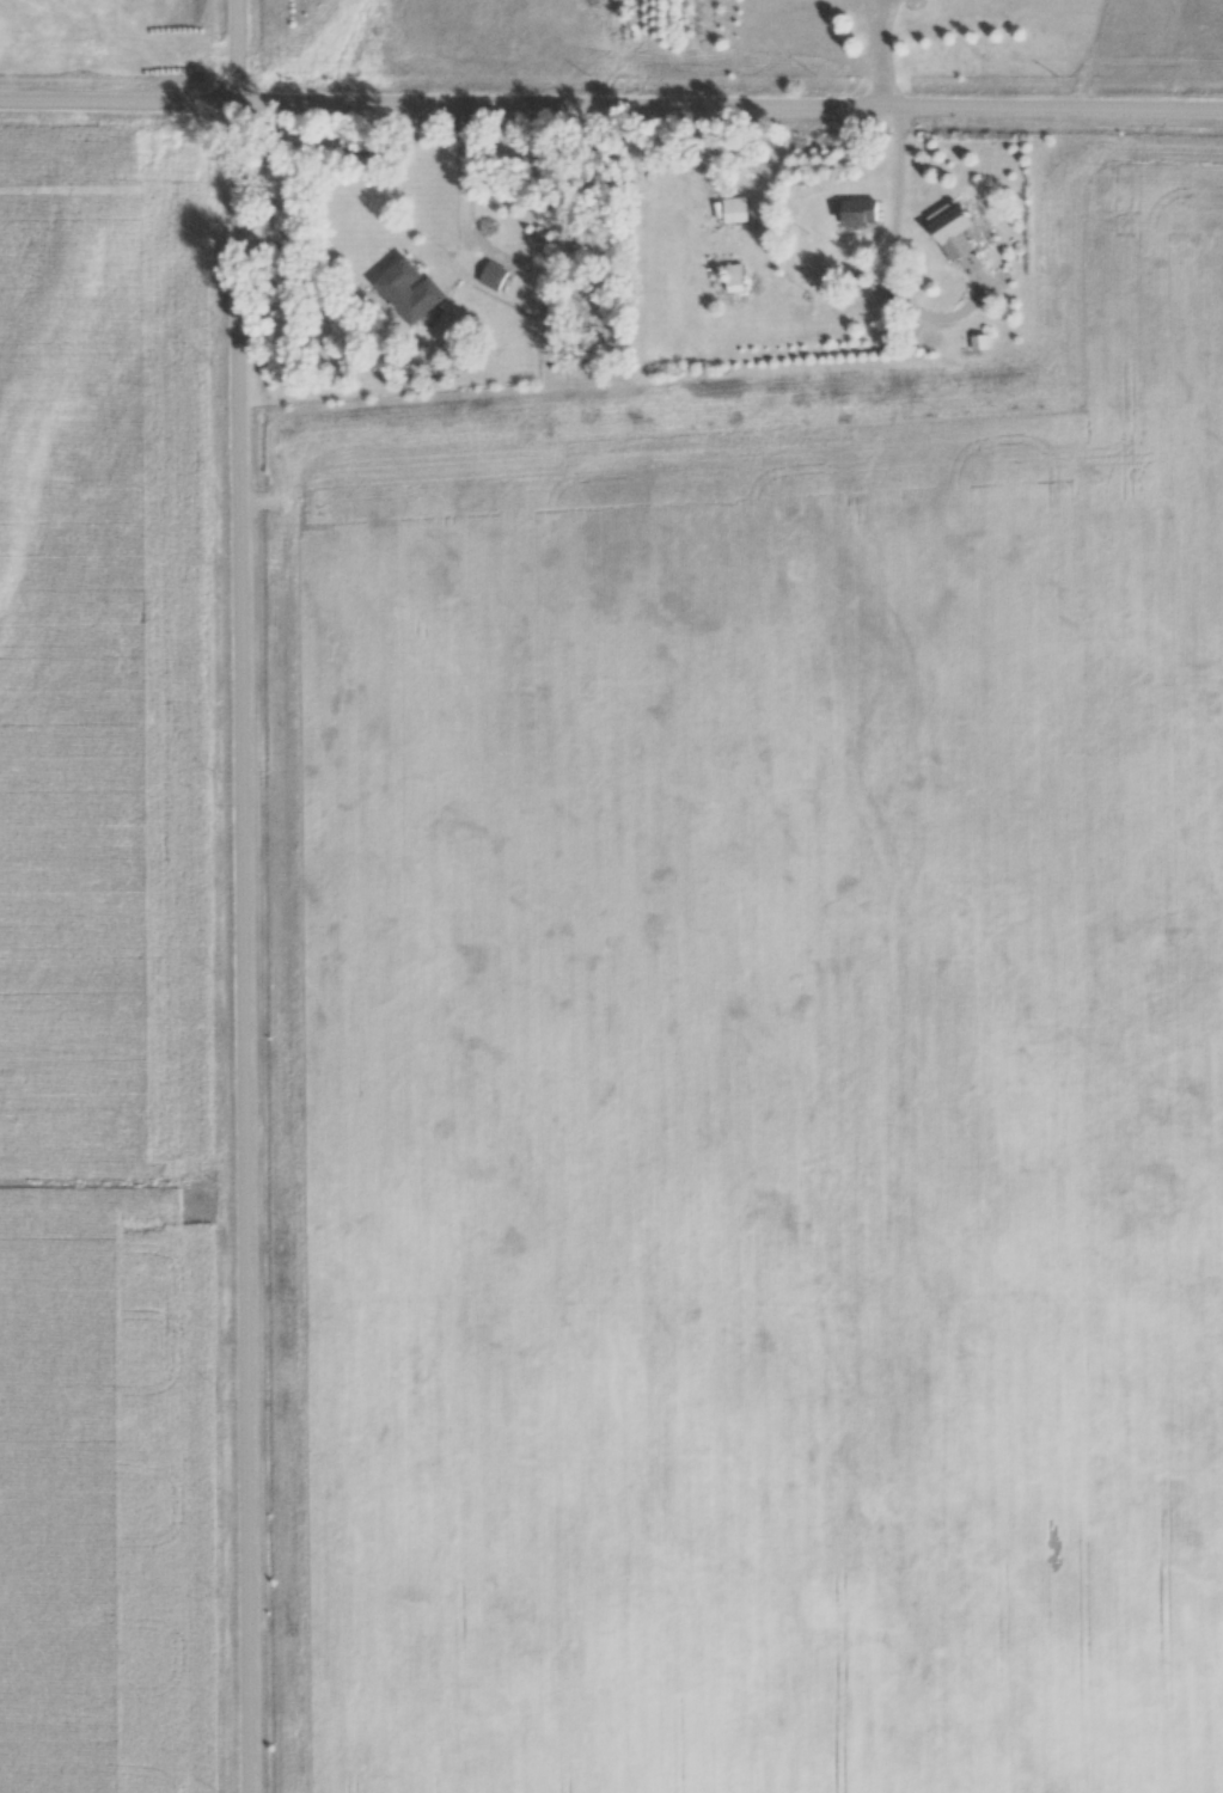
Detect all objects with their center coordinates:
road: (881, 54)
road: (611, 105)
road: (460, 197)
building: (735, 212)
building: (860, 214)
building: (954, 233)
road: (889, 273)
building: (494, 277)
building: (735, 280)
building: (409, 293)
road: (239, 895)

